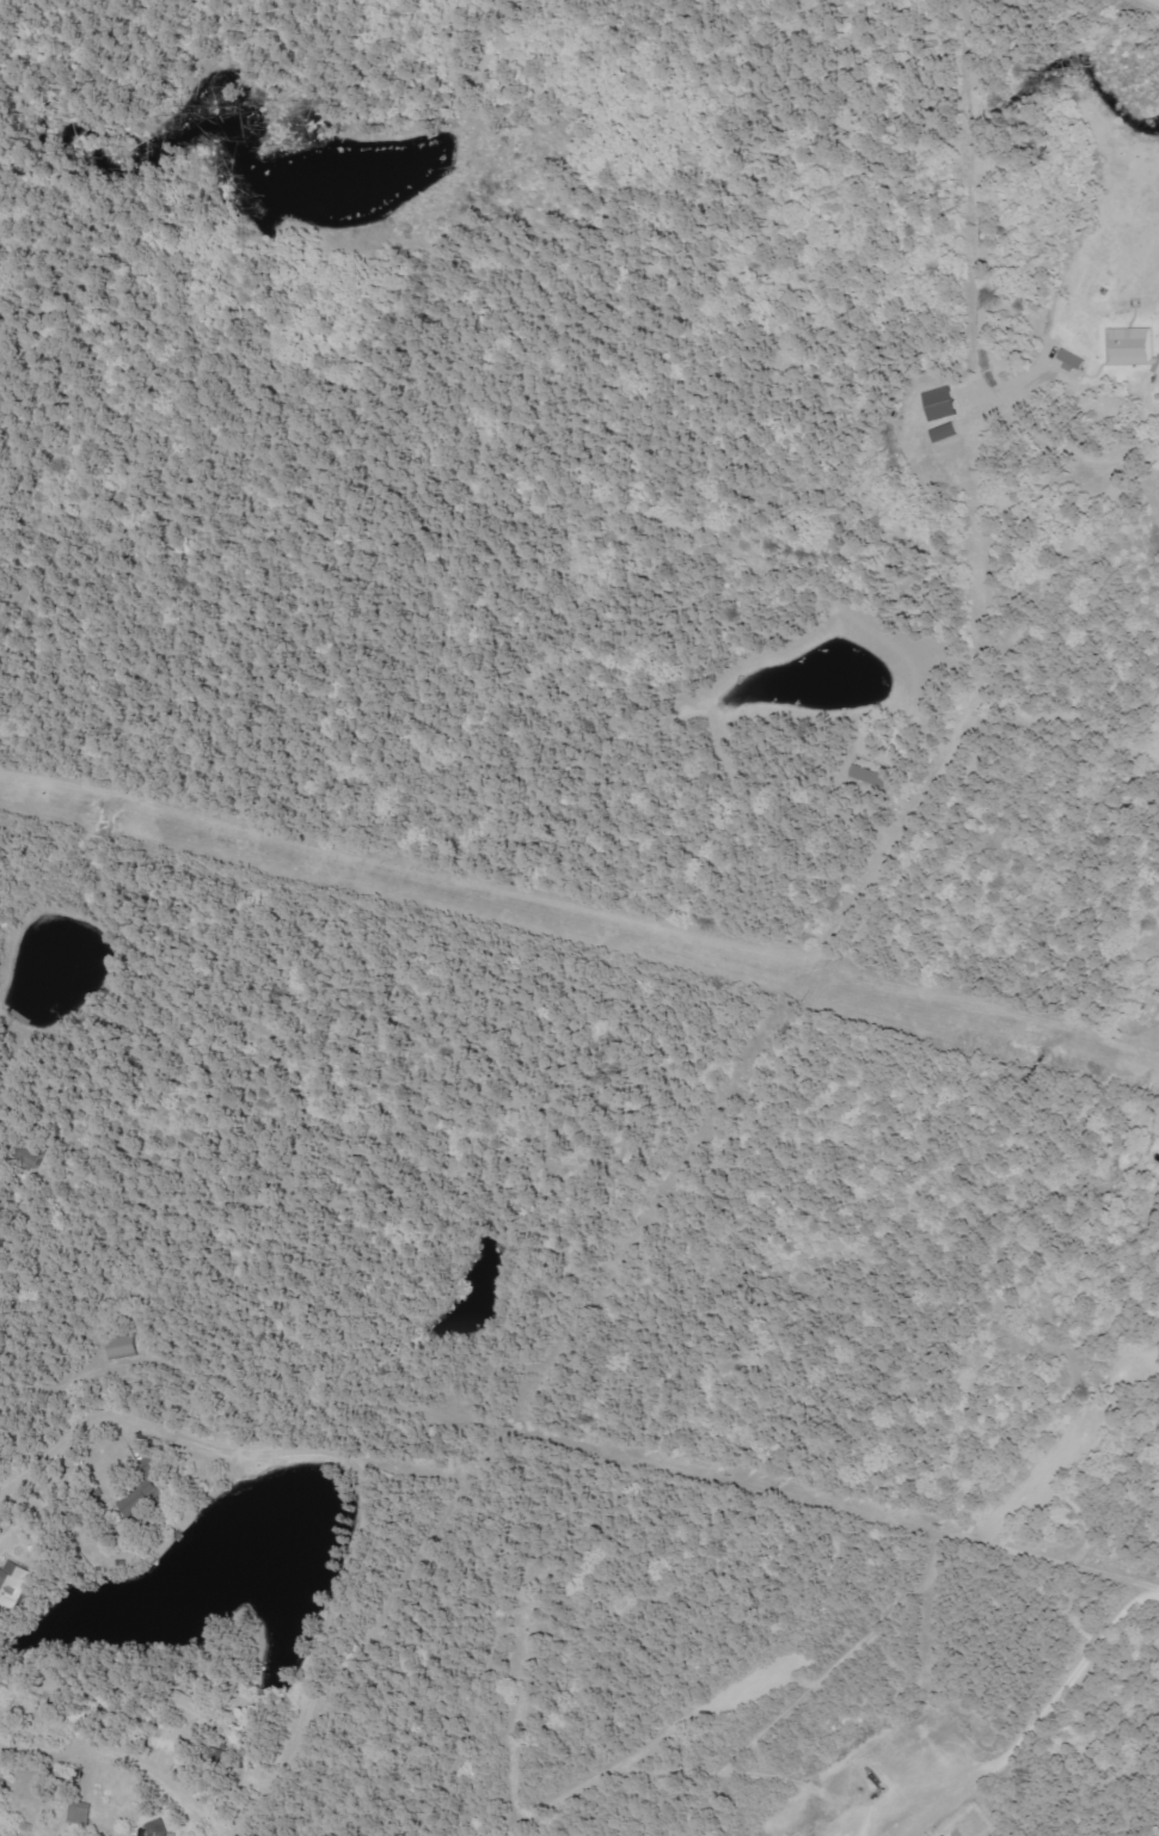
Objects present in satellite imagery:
building: (1133, 347)
building: (944, 404)
building: (119, 1348)
road: (372, 1457)
building: (14, 1585)
road: (1038, 1715)
road: (125, 1755)
petroleum well: (870, 1769)
building: (158, 1829)

